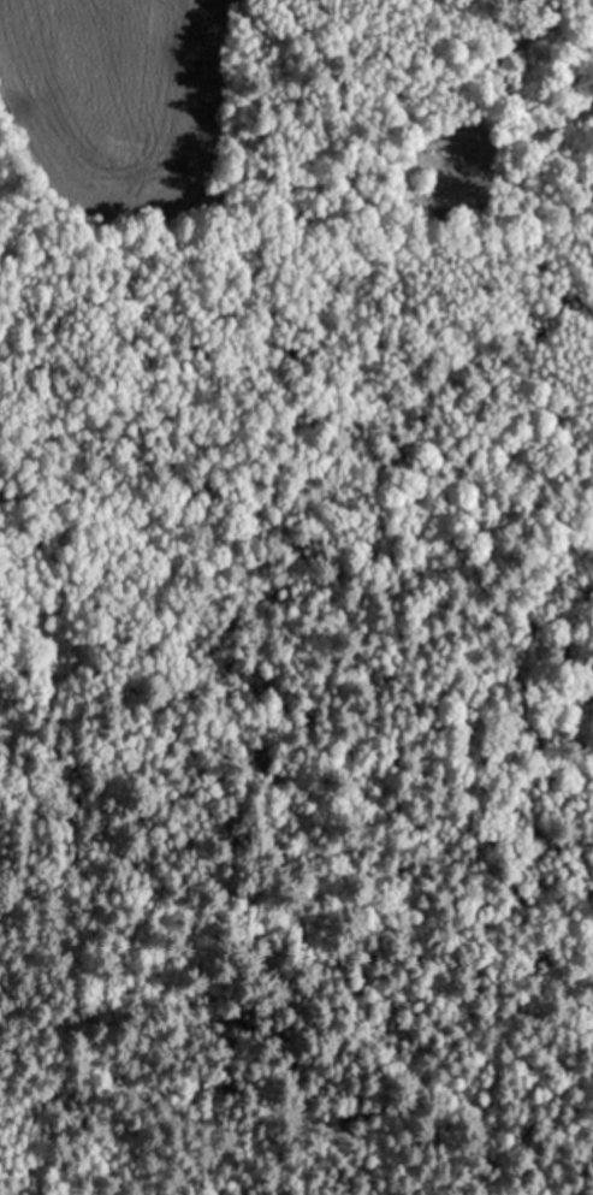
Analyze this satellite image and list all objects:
crop: (105, 94)

